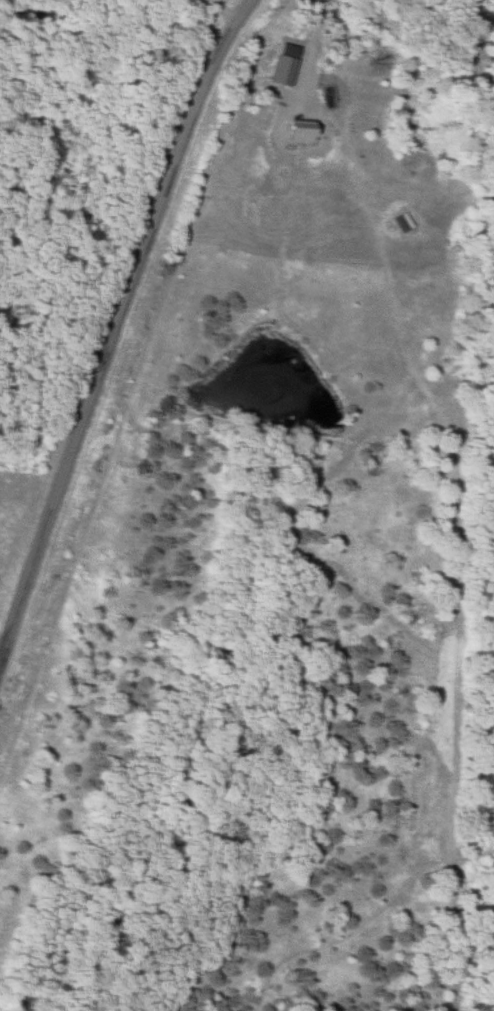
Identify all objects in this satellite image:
road: (231, 6)
building: (293, 122)
road: (119, 330)

